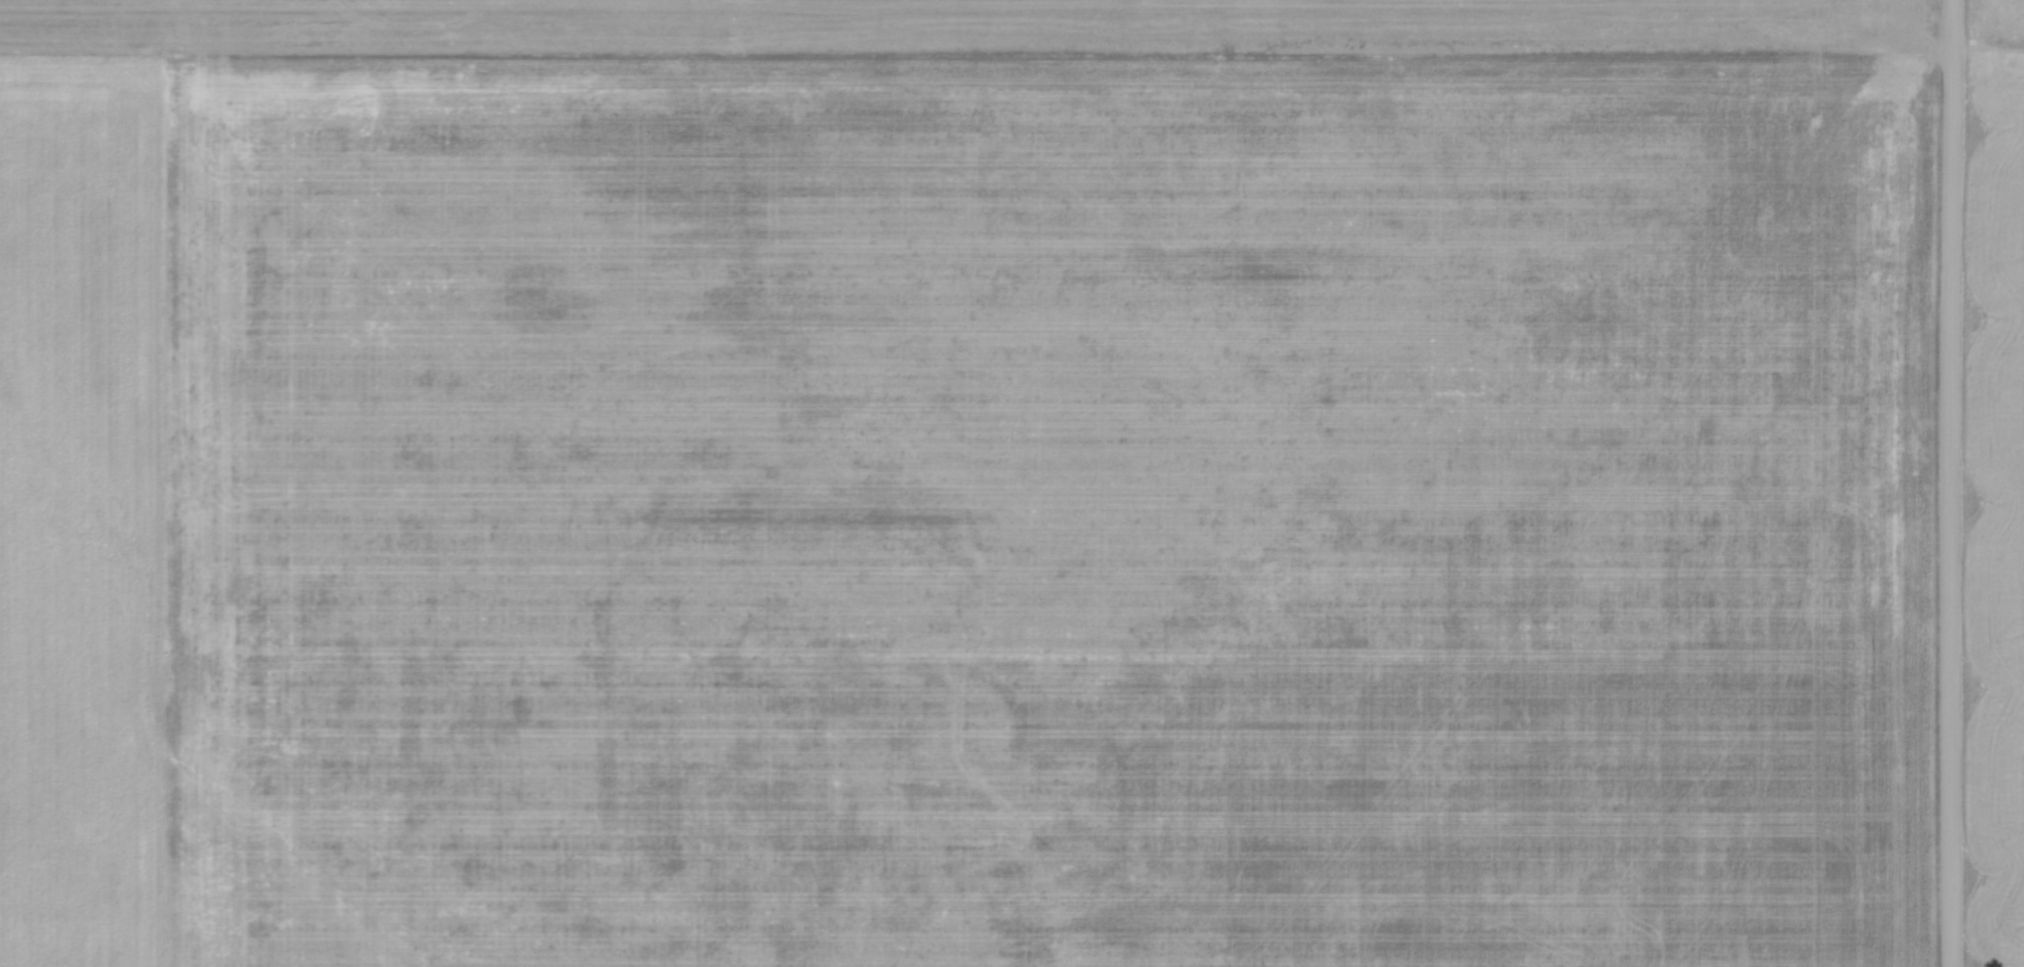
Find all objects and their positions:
crop: (967, 483)
road: (1952, 483)
crop: (1996, 489)

